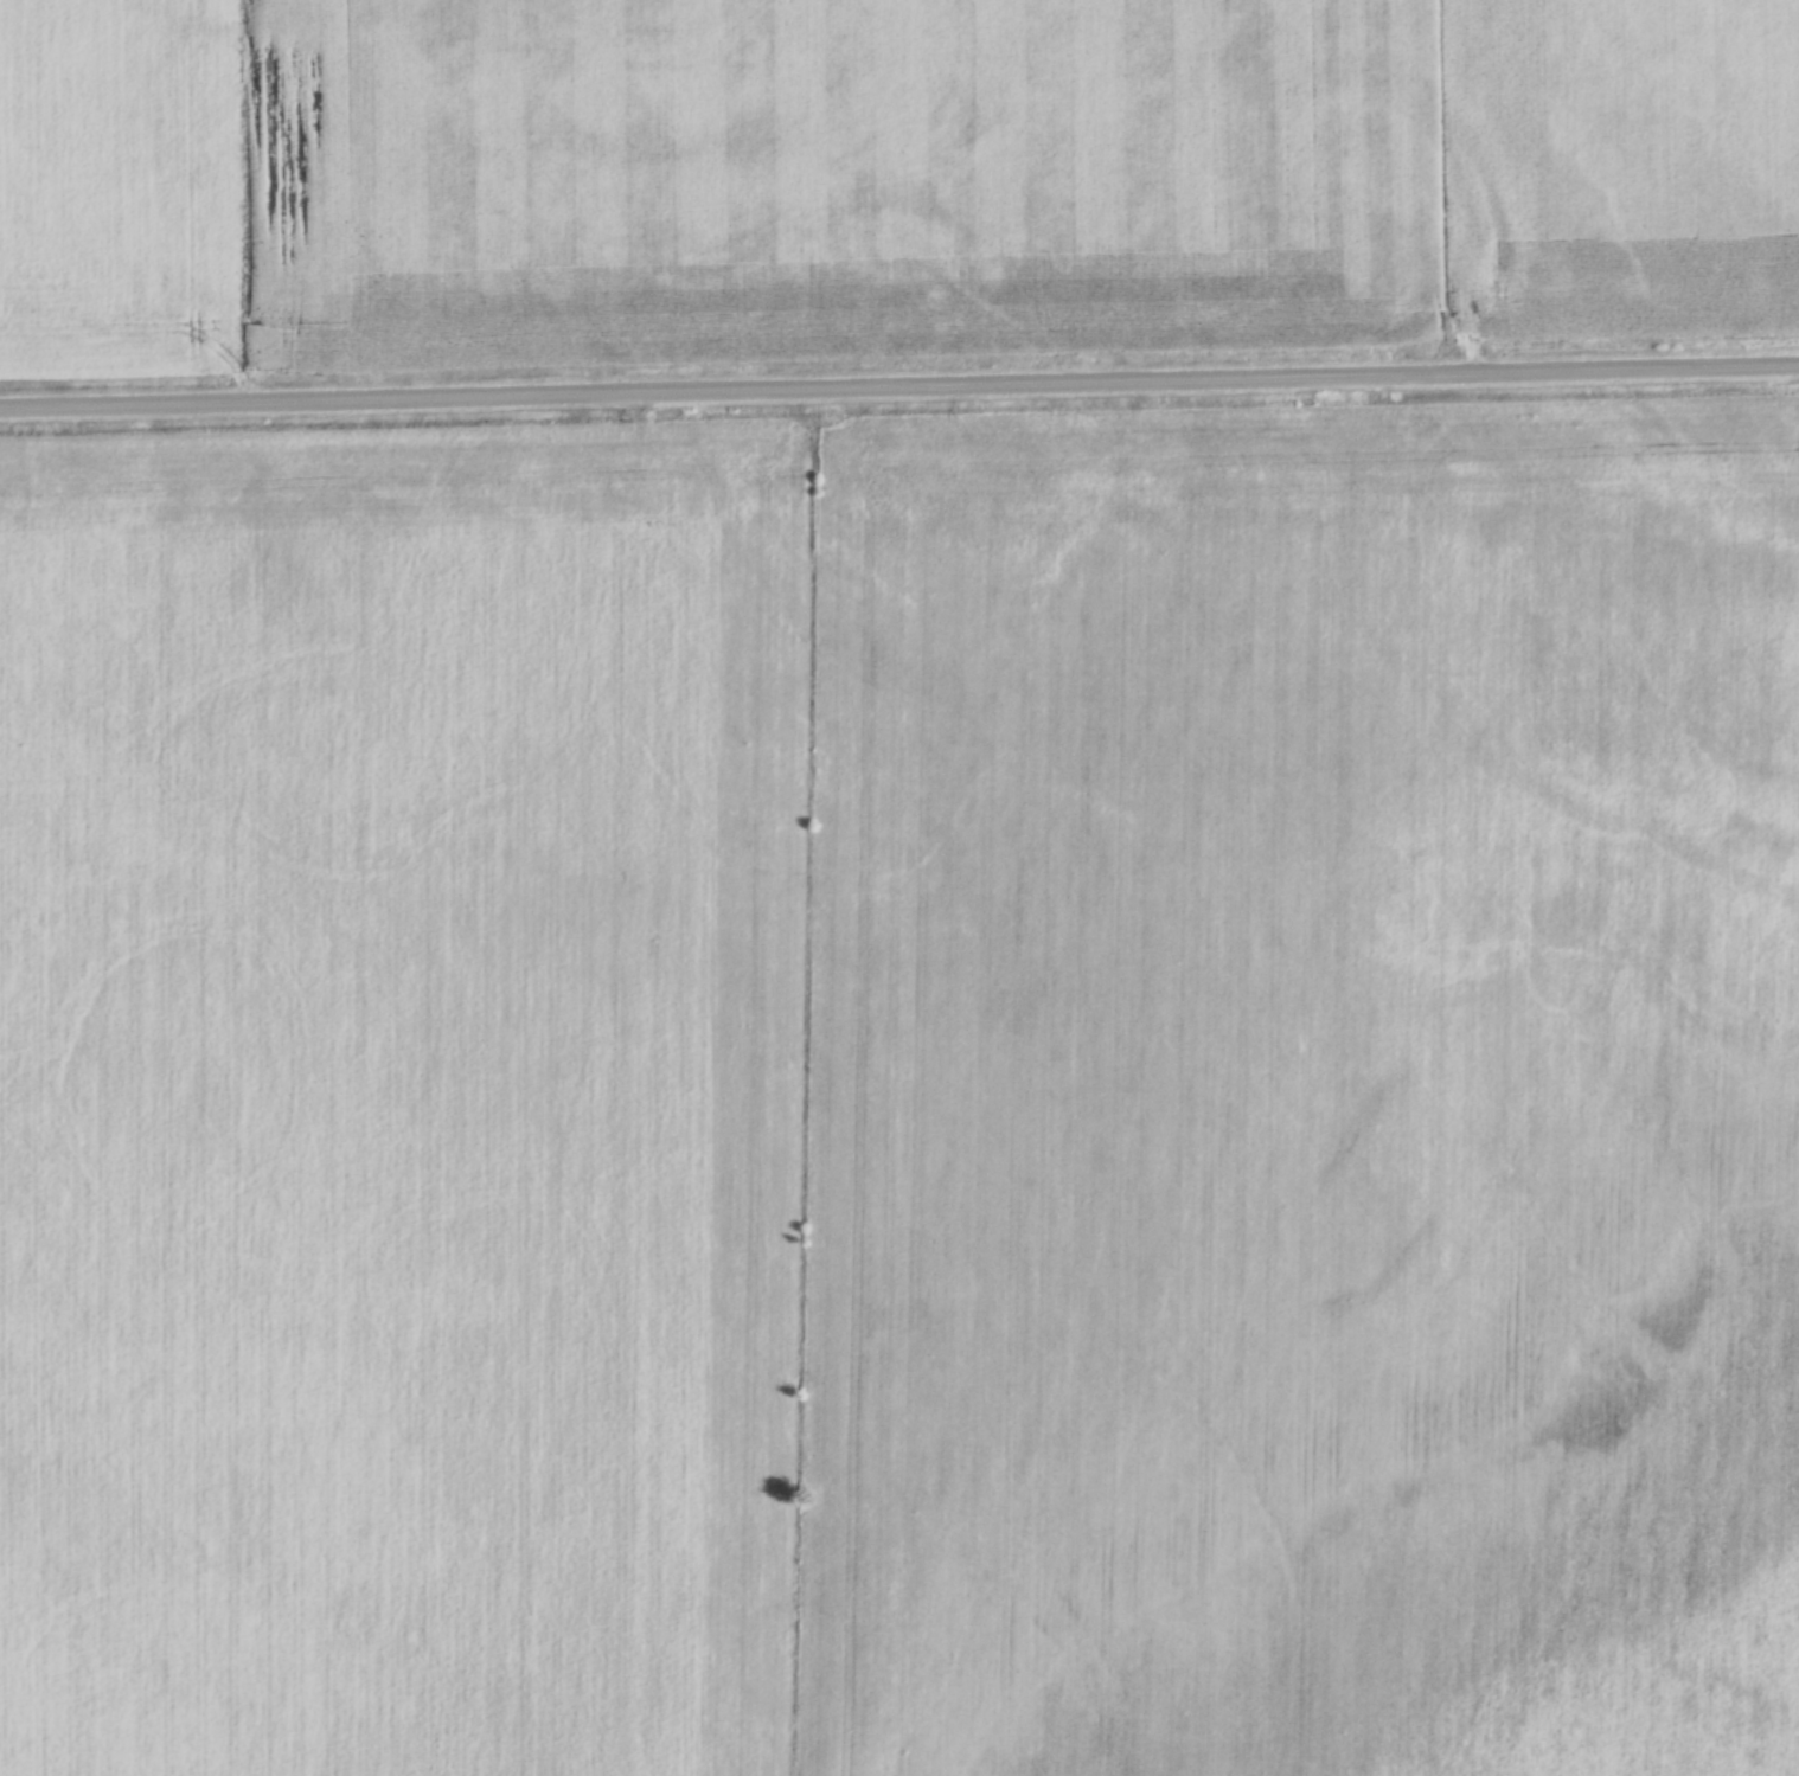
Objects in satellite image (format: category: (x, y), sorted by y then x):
road: (899, 390)
crop: (1302, 1094)
crop: (403, 1097)

